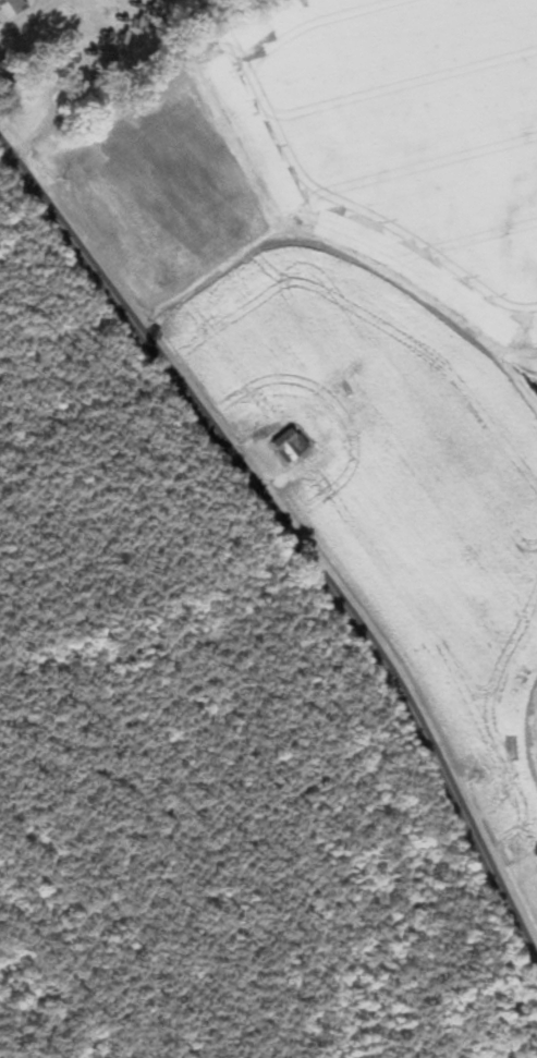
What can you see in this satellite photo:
building: (7, 8)
road: (24, 16)
road: (291, 536)

